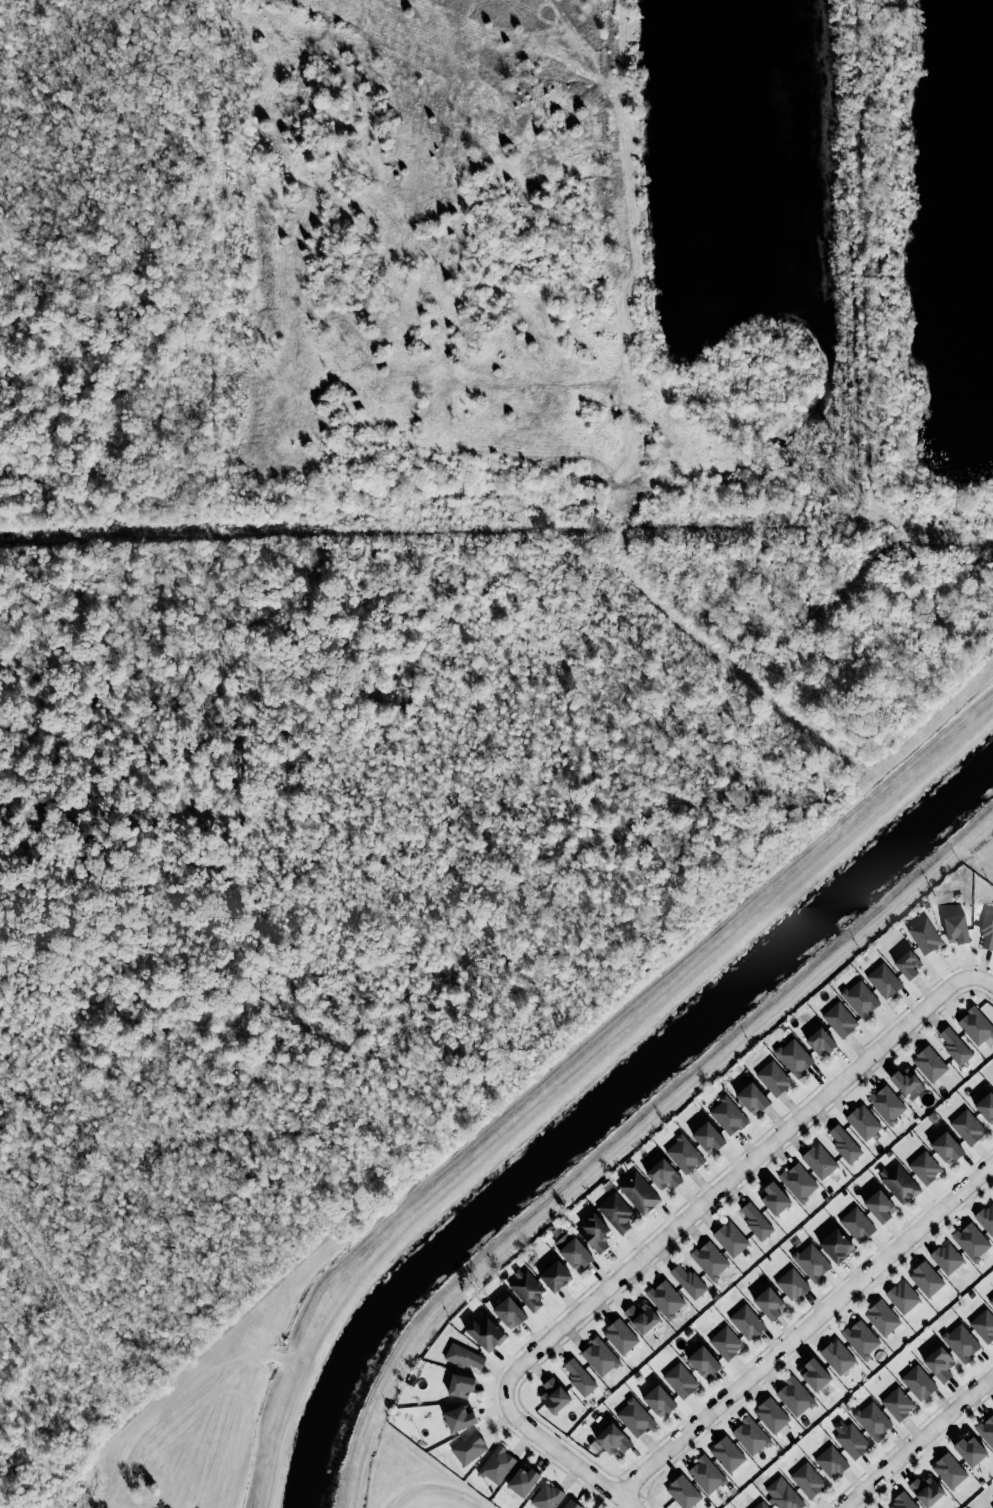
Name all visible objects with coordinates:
road: (866, 252)
building: (956, 928)
building: (987, 930)
building: (924, 935)
building: (908, 964)
building: (884, 980)
road: (981, 981)
building: (860, 1000)
building: (839, 1020)
building: (975, 1025)
building: (821, 1041)
building: (954, 1046)
building: (794, 1058)
building: (929, 1063)
building: (773, 1078)
building: (905, 1081)
building: (752, 1098)
building: (886, 1105)
building: (986, 1107)
building: (729, 1115)
building: (863, 1122)
building: (967, 1127)
building: (707, 1137)
building: (844, 1143)
building: (946, 1147)
building: (684, 1154)
building: (818, 1161)
building: (924, 1167)
building: (663, 1174)
road: (731, 1179)
building: (798, 1182)
building: (898, 1183)
building: (638, 1193)
building: (774, 1199)
building: (879, 1205)
building: (615, 1213)
building: (986, 1218)
building: (756, 1222)
building: (857, 1224)
building: (594, 1232)
building: (731, 1239)
building: (971, 1241)
building: (836, 1245)
building: (572, 1250)
building: (946, 1257)
building: (710, 1260)
building: (811, 1262)
building: (555, 1276)
building: (925, 1278)
building: (689, 1282)
building: (791, 1284)
building: (526, 1289)
building: (902, 1296)
building: (665, 1299)
building: (991, 1301)
building: (768, 1303)
building: (509, 1312)
building: (641, 1317)
building: (881, 1317)
building: (745, 1321)
building: (983, 1325)
road: (805, 1330)
building: (484, 1332)
building: (621, 1336)
building: (860, 1338)
building: (725, 1342)
building: (960, 1342)
building: (600, 1356)
building: (837, 1356)
building: (464, 1357)
building: (703, 1362)
building: (939, 1363)
building: (814, 1374)
building: (579, 1378)
building: (680, 1380)
building: (918, 1382)
building: (460, 1385)
building: (554, 1395)
building: (794, 1396)
building: (658, 1400)
building: (897, 1403)
building: (770, 1414)
building: (634, 1417)
building: (459, 1418)
building: (872, 1420)
building: (986, 1429)
building: (750, 1436)
building: (612, 1439)
building: (851, 1440)
road: (919, 1441)
building: (468, 1447)
building: (969, 1450)
road: (562, 1454)
building: (726, 1454)
building: (830, 1462)
building: (497, 1465)
building: (949, 1470)
building: (705, 1474)
building: (807, 1479)
building: (522, 1481)
building: (925, 1490)
building: (683, 1491)
building: (783, 1495)
building: (546, 1496)
building: (902, 1501)
building: (992, 1502)
building: (571, 1504)
building: (760, 1505)

